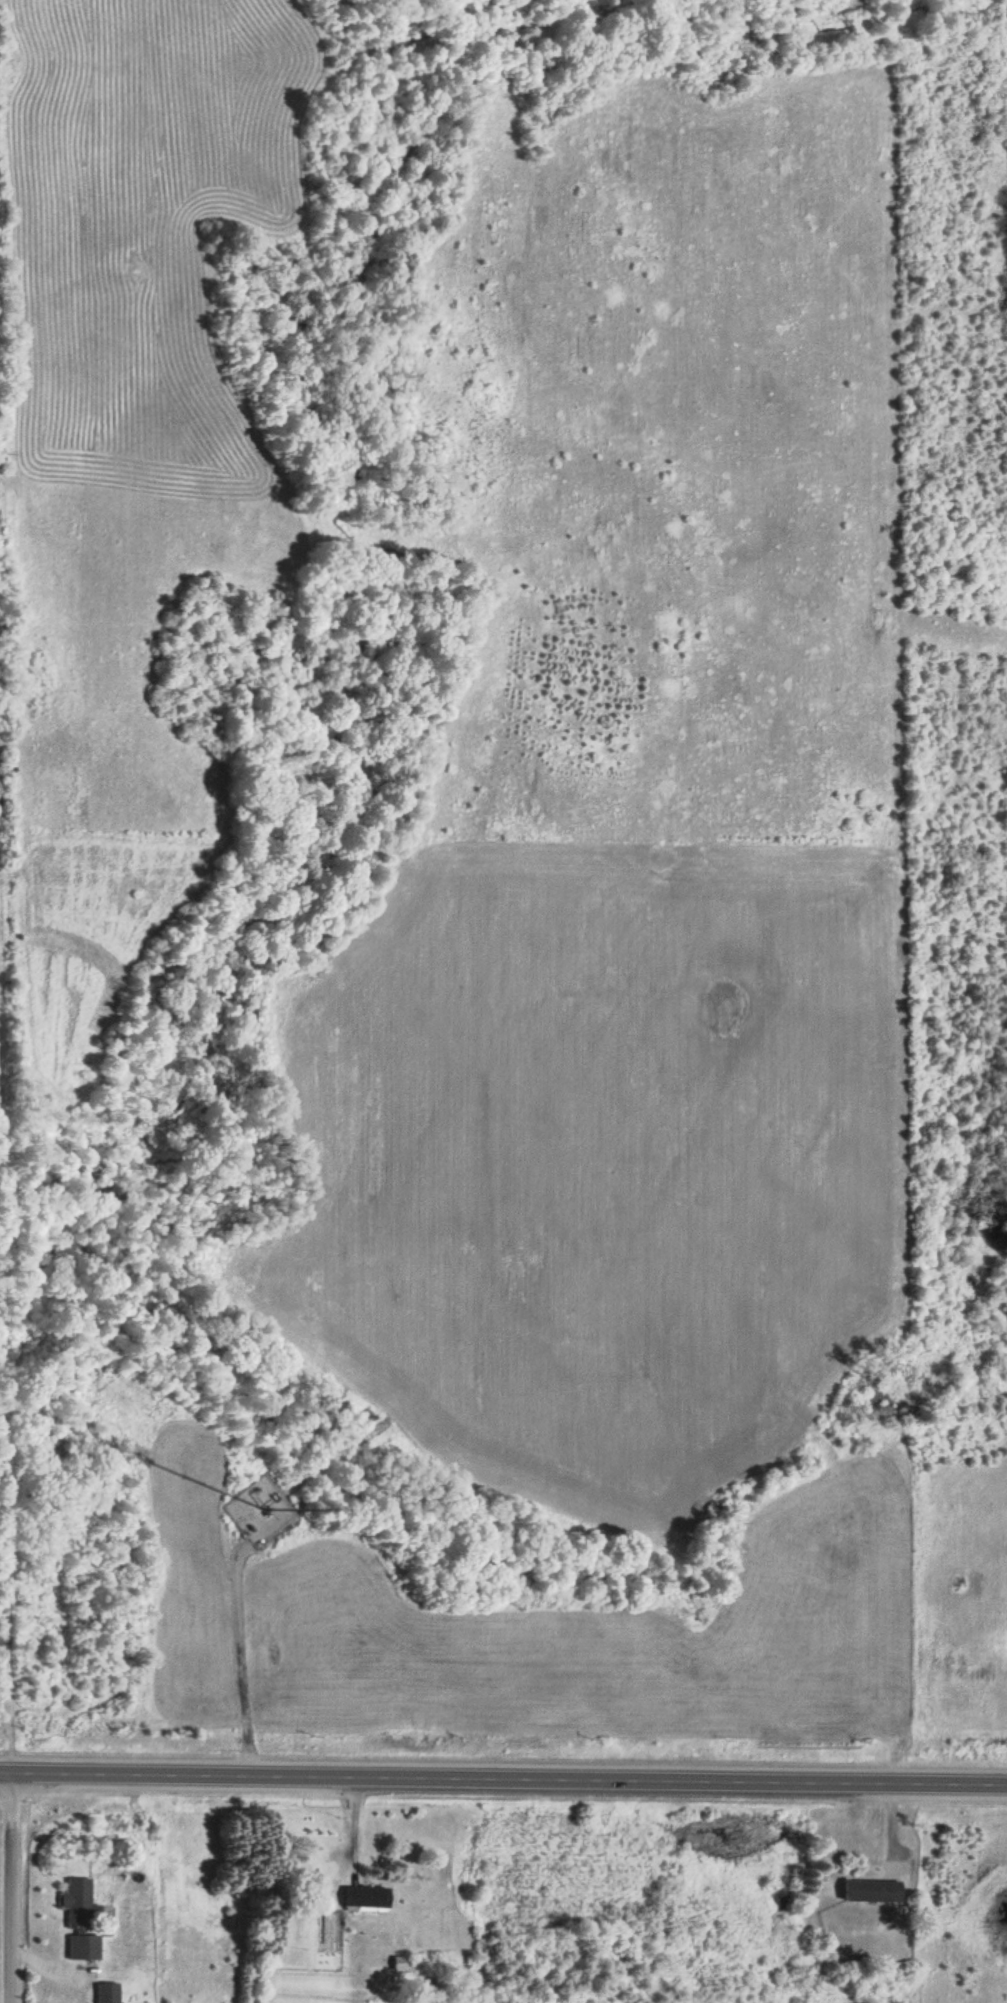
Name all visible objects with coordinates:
road: (4, 1503)
road: (503, 1777)
road: (9, 1887)
building: (867, 1892)
building: (361, 1896)
building: (74, 1901)
building: (398, 1939)
building: (80, 1946)
building: (396, 1962)
building: (105, 1997)

